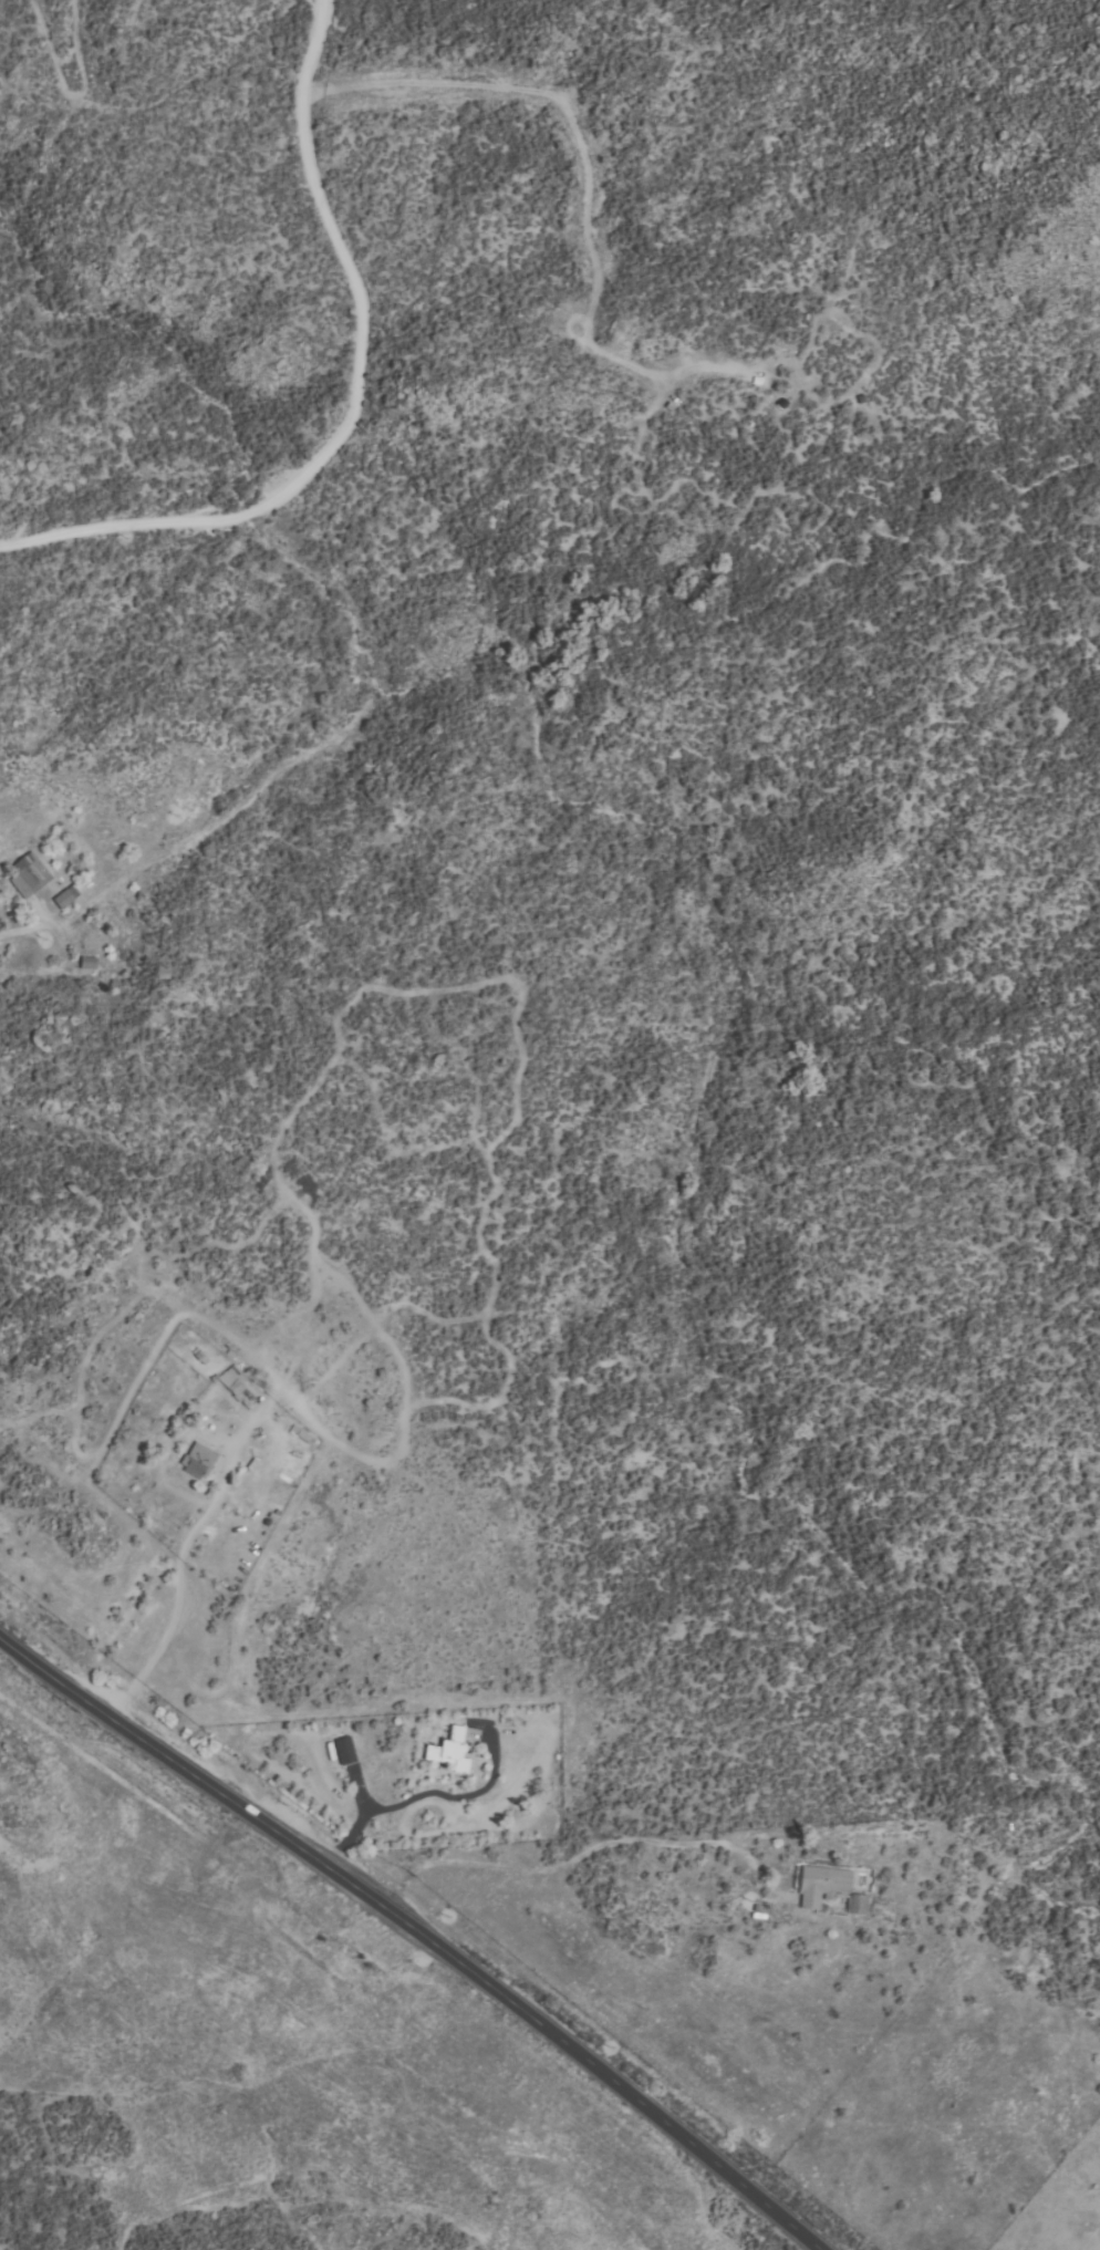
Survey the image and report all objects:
road: (354, 396)
road: (14, 931)
building: (236, 1382)
building: (197, 1459)
building: (450, 1750)
building: (822, 1884)
road: (421, 1929)

